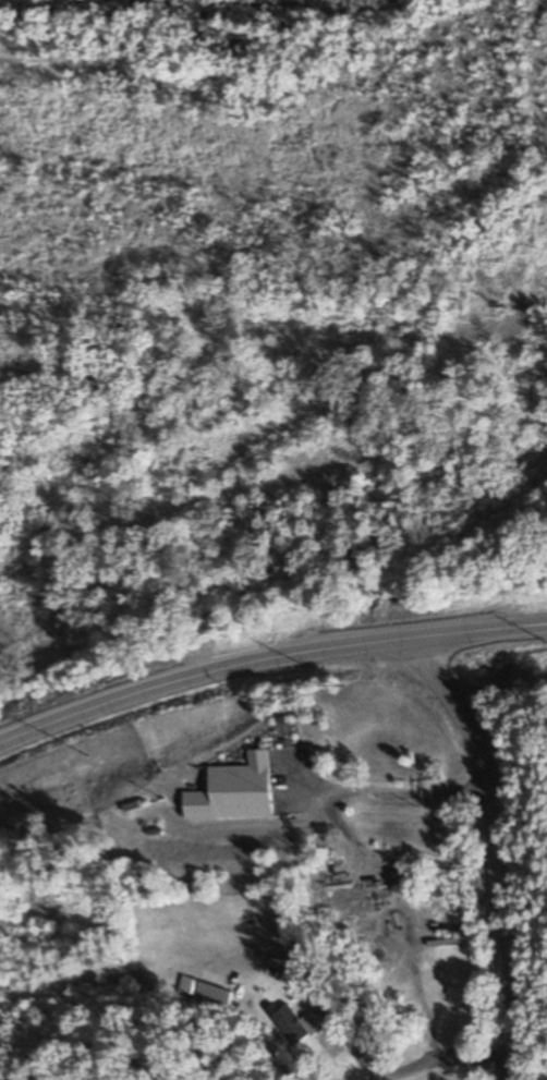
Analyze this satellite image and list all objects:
road: (267, 658)
building: (244, 787)
road: (502, 849)
building: (293, 1024)

